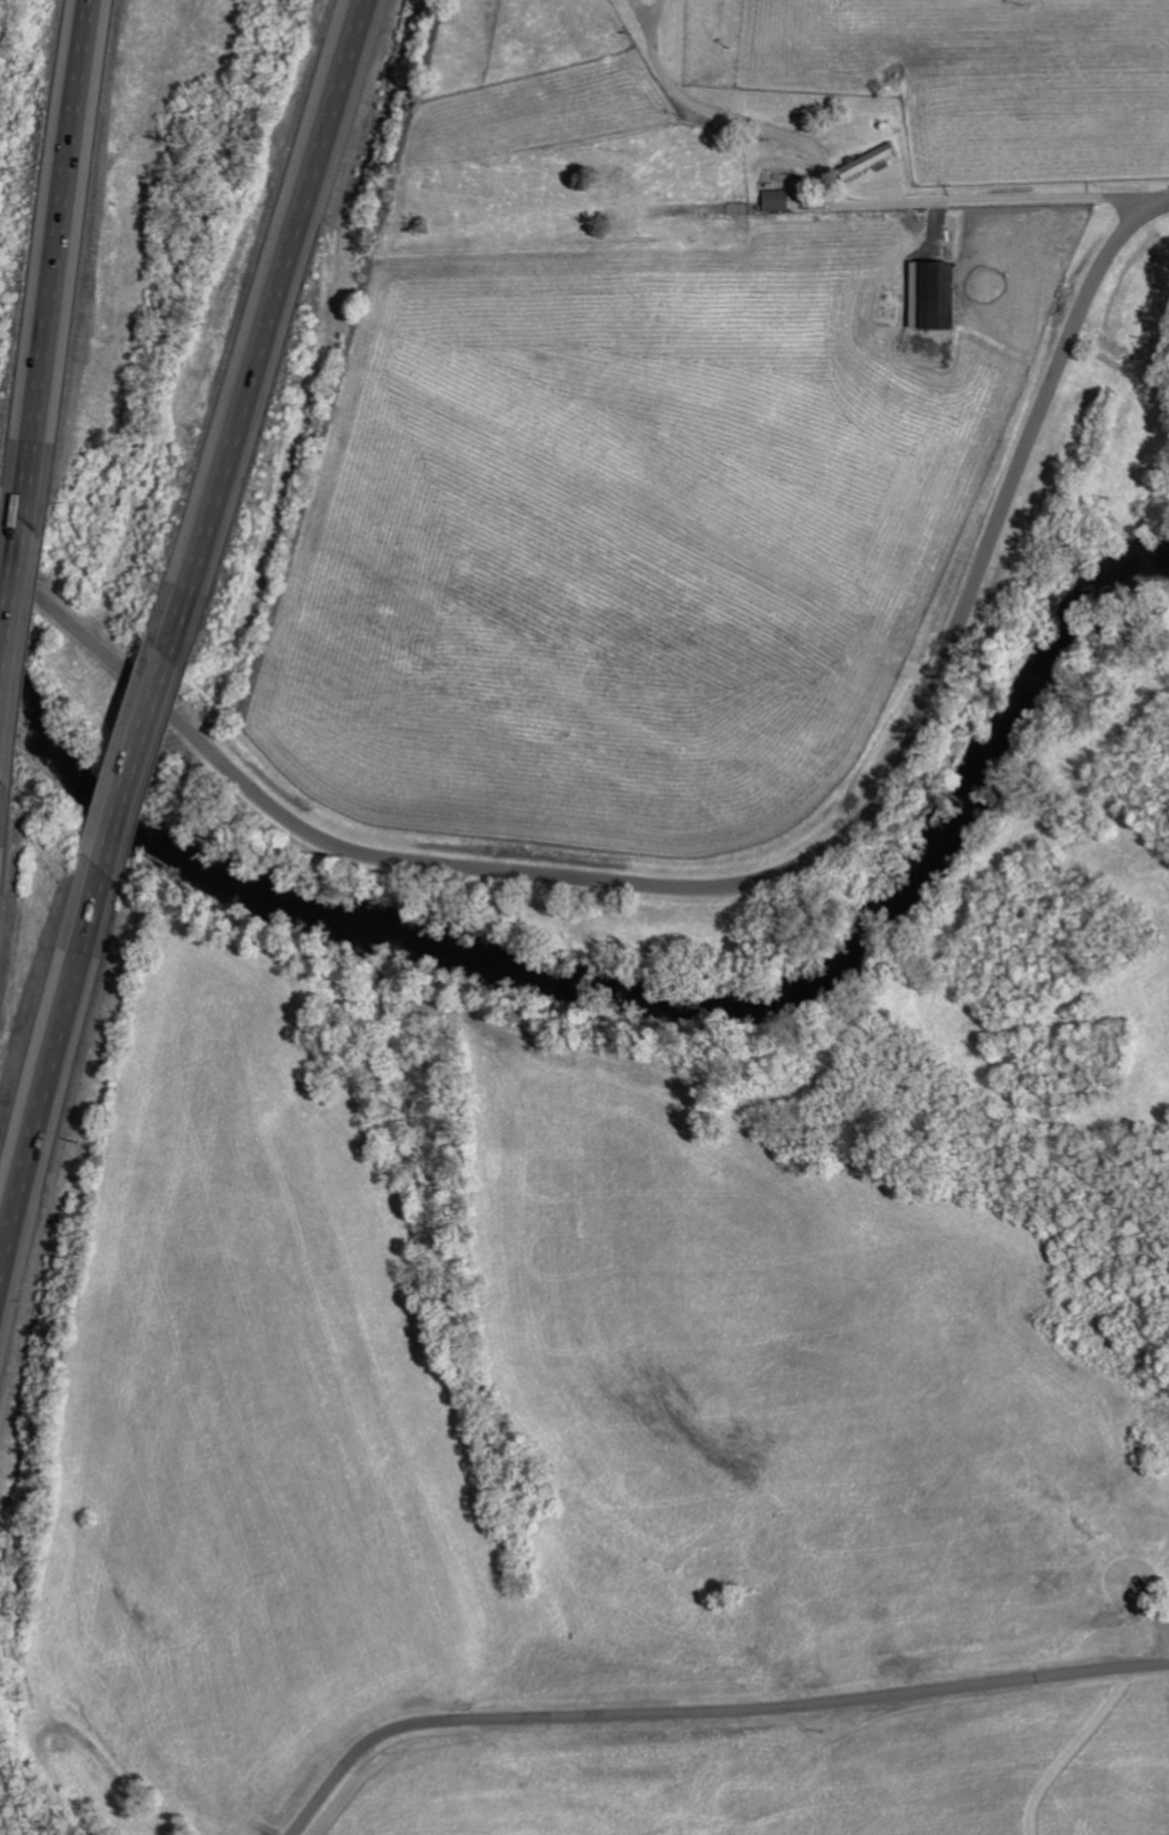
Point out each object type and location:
road: (640, 13)
road: (654, 13)
building: (866, 162)
road: (853, 201)
building: (773, 202)
road: (53, 259)
road: (256, 328)
road: (8, 599)
road: (129, 763)
road: (738, 884)
road: (49, 1070)
road: (707, 1715)

